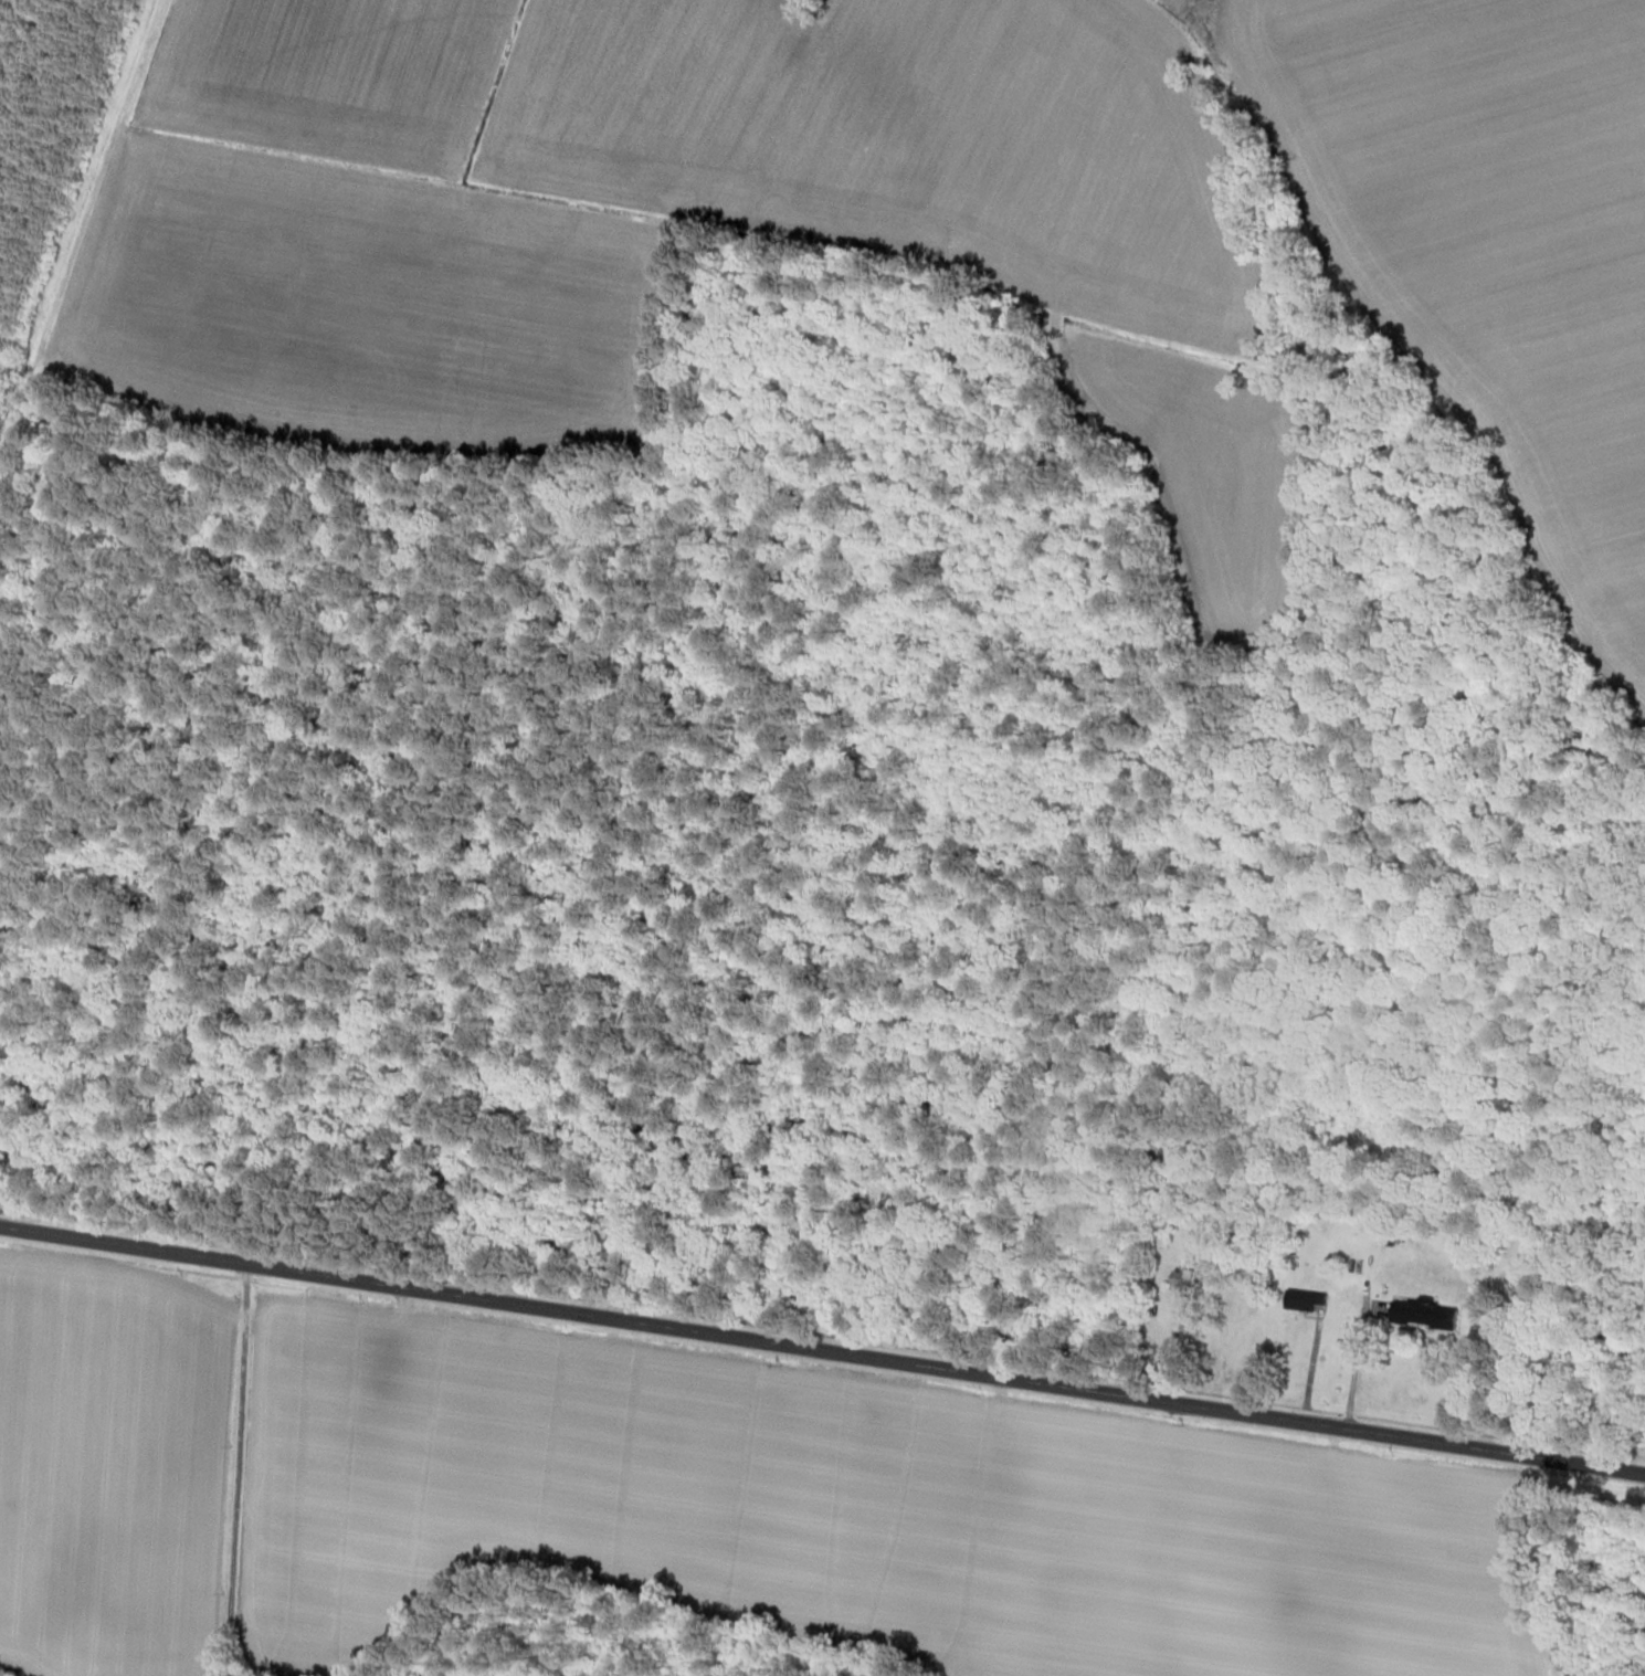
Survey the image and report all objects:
building: (1182, 1282)
building: (1300, 1301)
building: (1421, 1315)
road: (822, 1354)

